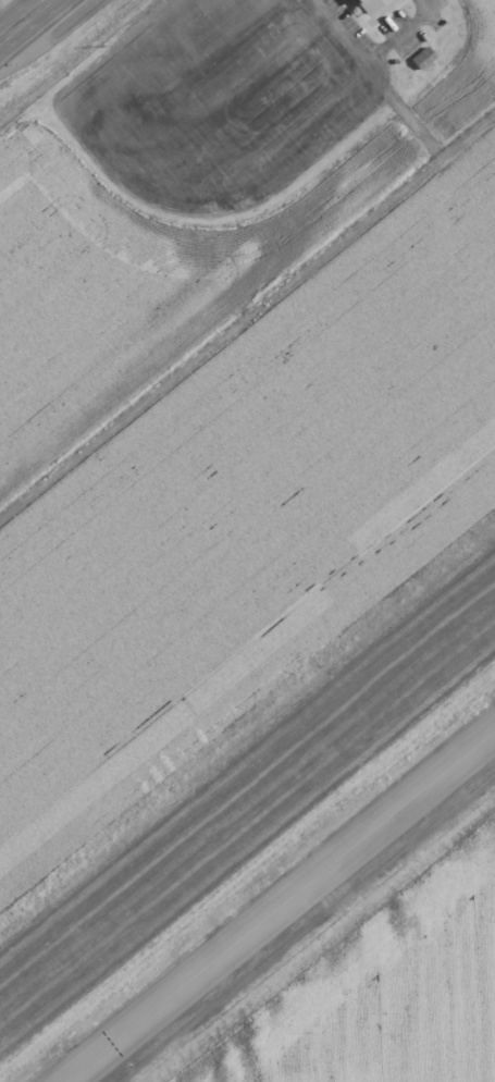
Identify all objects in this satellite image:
building: (376, 8)
road: (10, 9)
road: (20, 15)
building: (423, 58)
road: (370, 61)
road: (157, 196)
airport: (269, 689)
airport taxiway: (280, 906)

